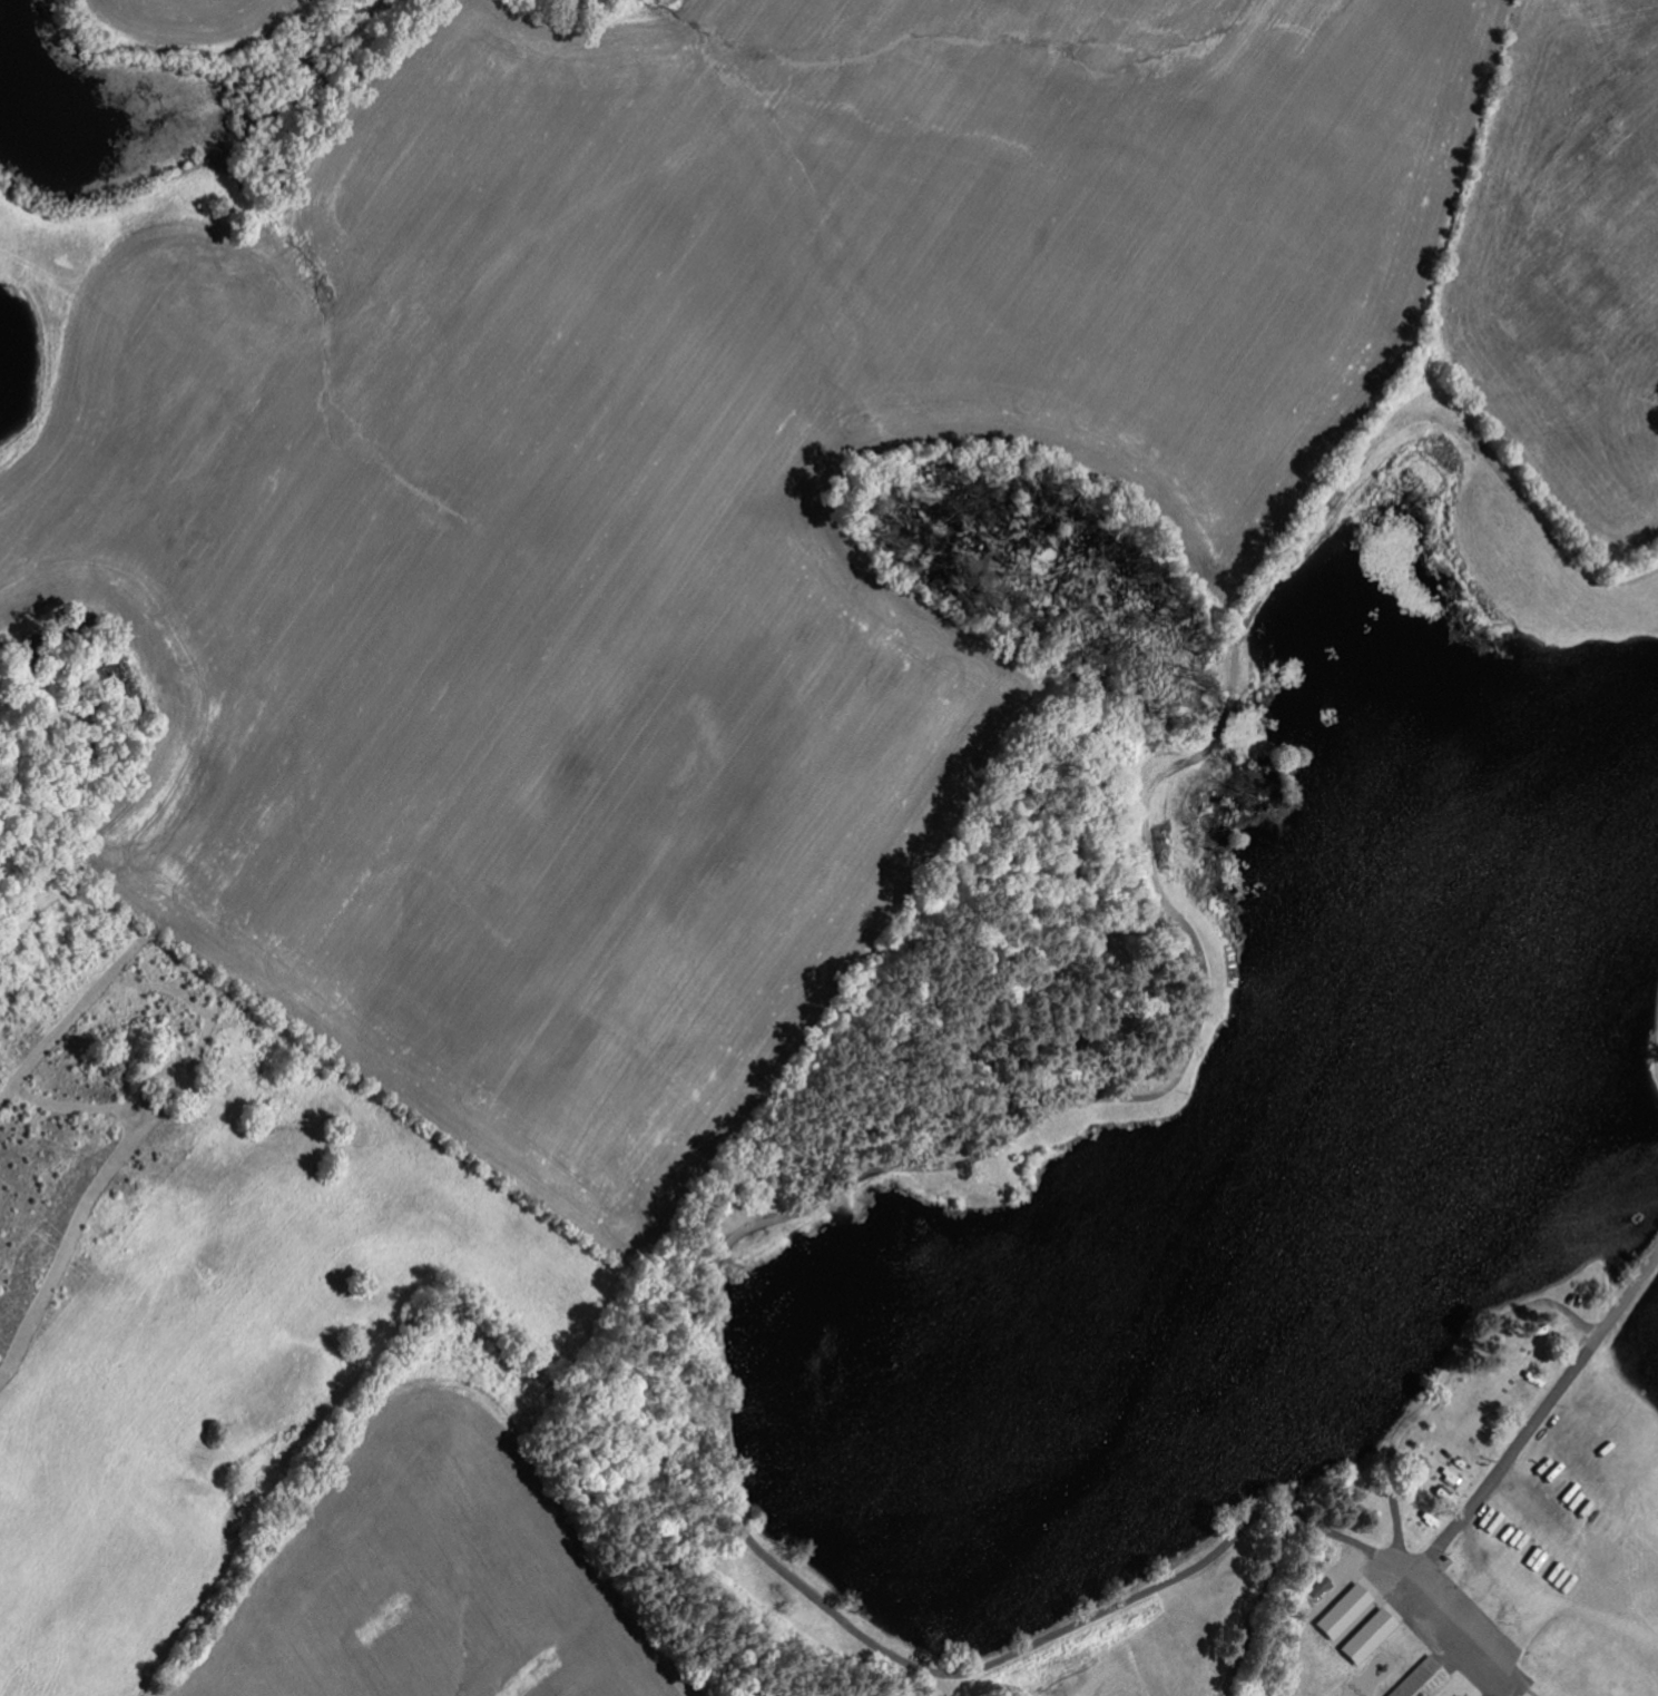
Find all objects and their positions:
road: (777, 1214)
road: (1442, 1396)
road: (1550, 1406)
dam: (756, 1521)
building: (1317, 1587)
building: (1340, 1611)
building: (1364, 1636)
building: (1419, 1679)

